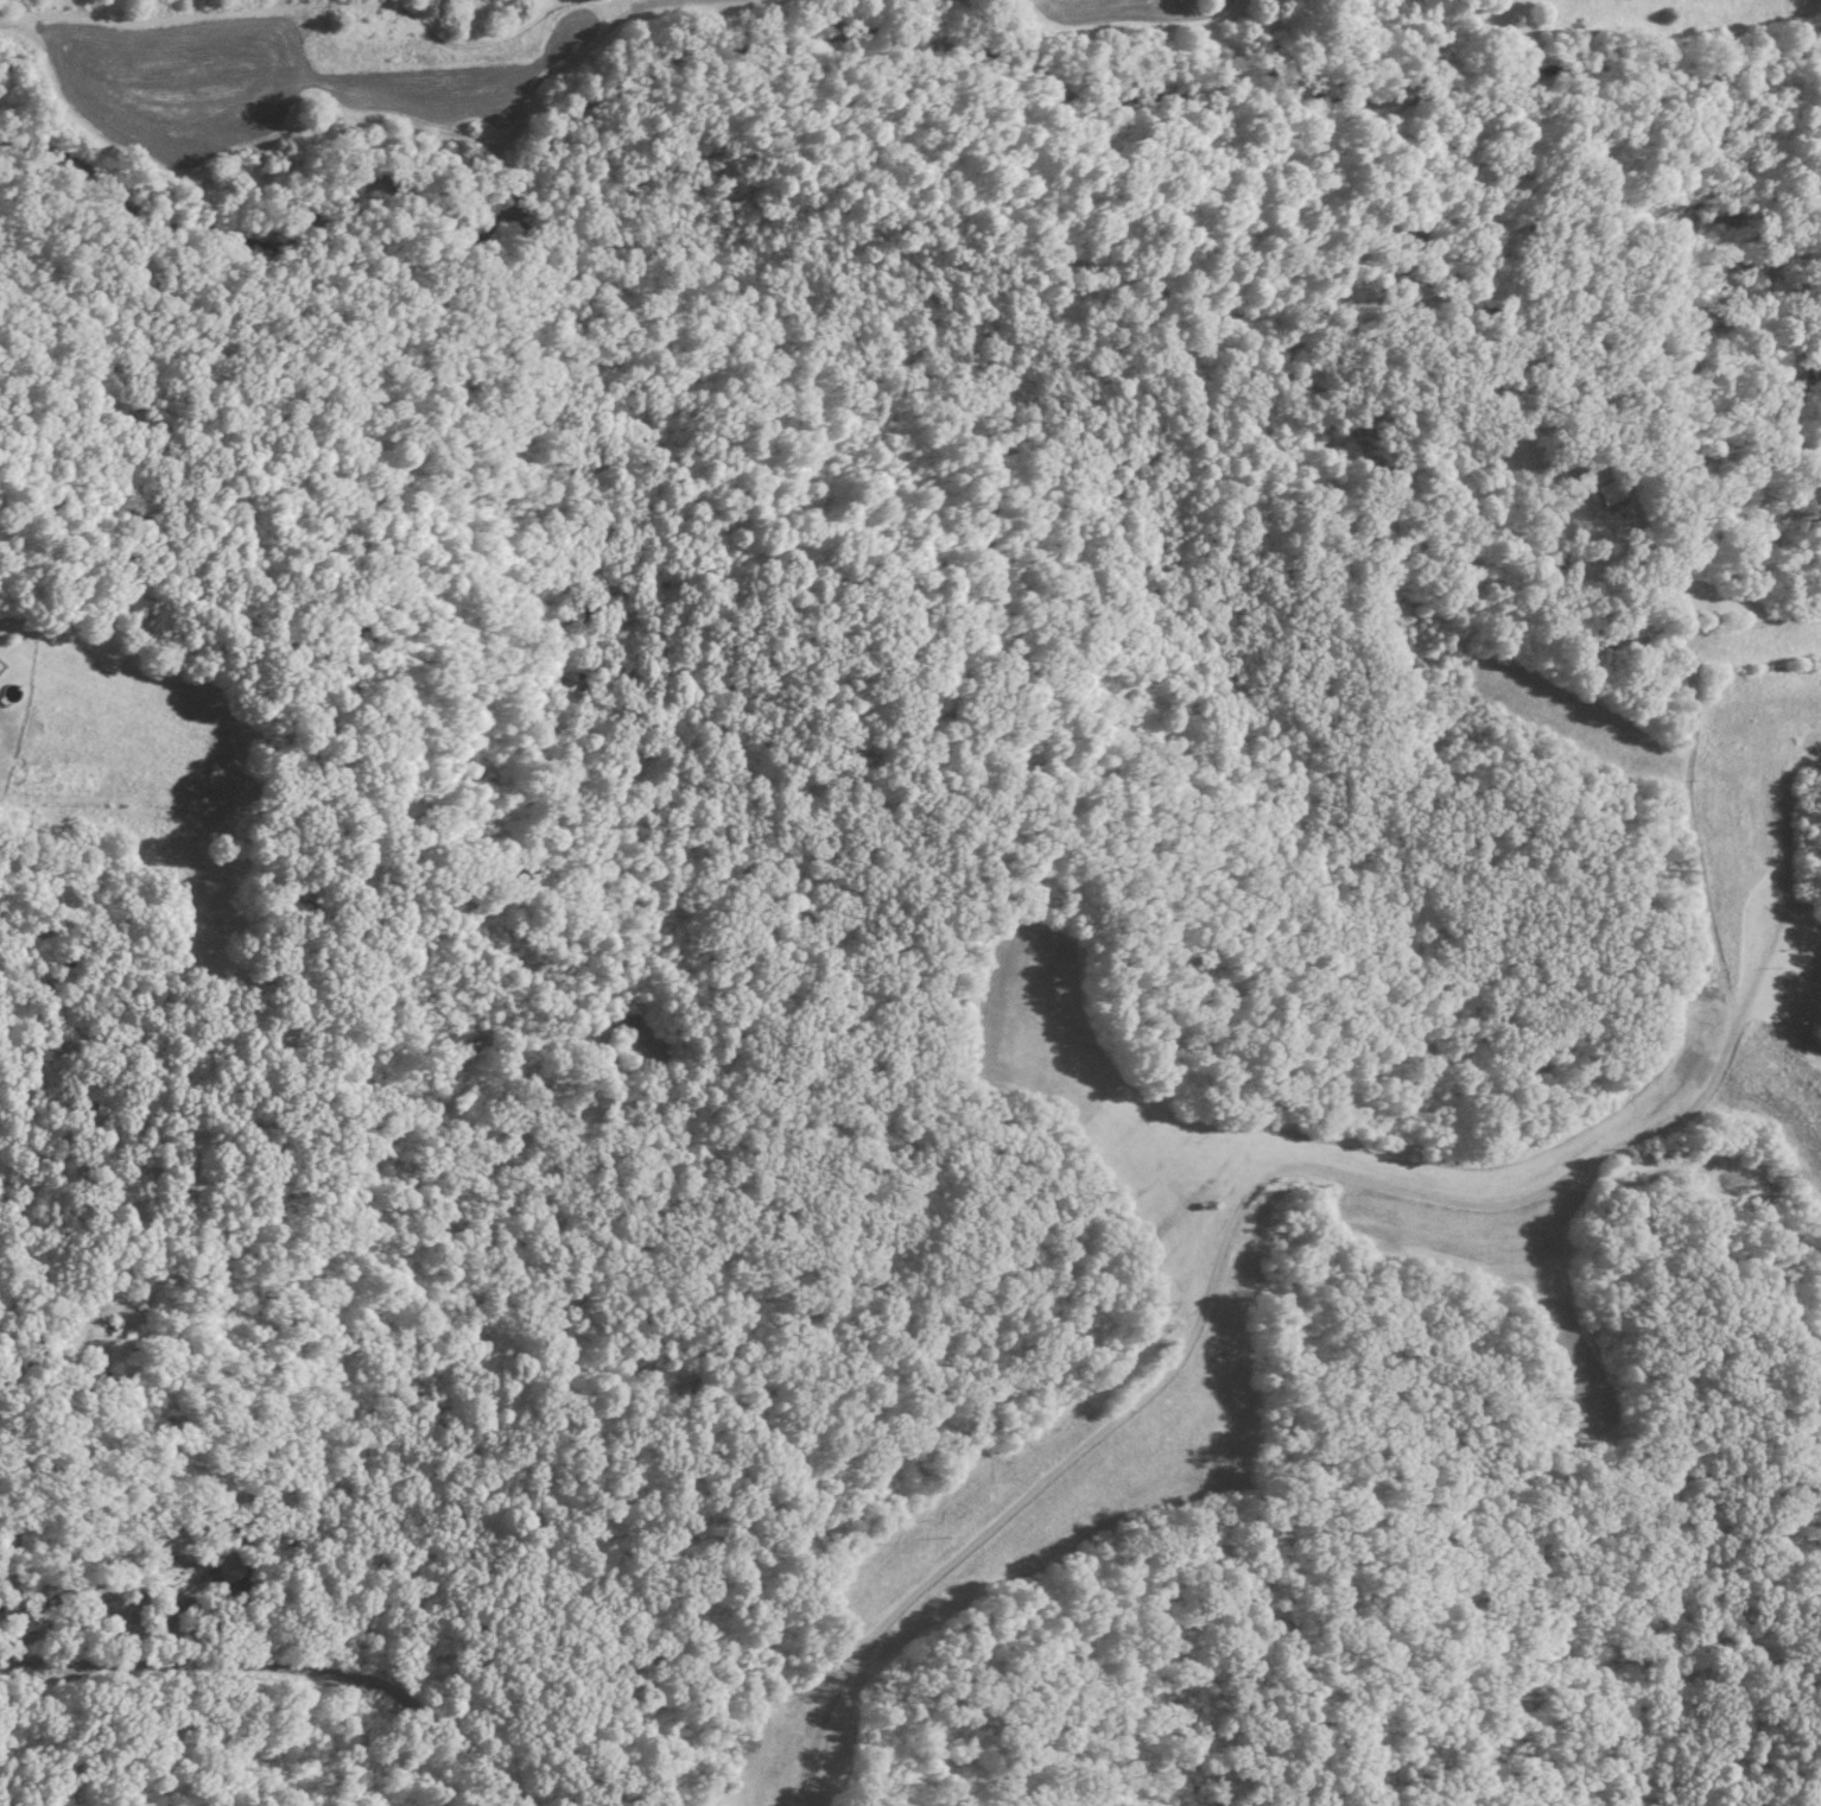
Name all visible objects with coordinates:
road: (1236, 1210)
building: (228, 1565)
building: (167, 1567)
road: (283, 1675)

